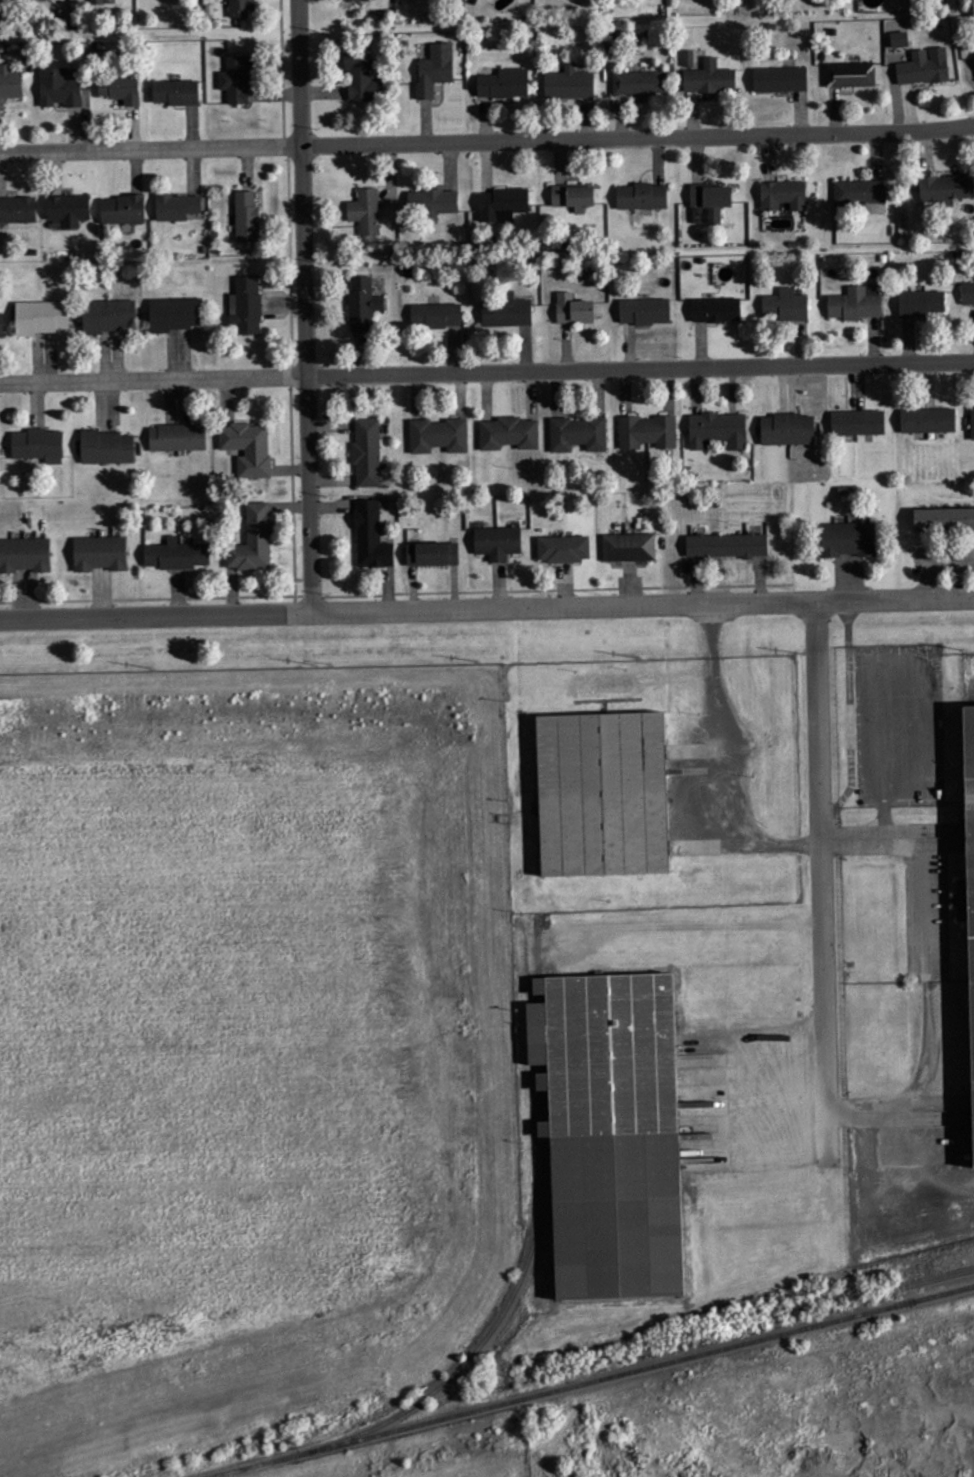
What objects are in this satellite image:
building: (357, 0)
building: (97, 1)
building: (241, 8)
building: (689, 59)
building: (436, 70)
building: (923, 70)
building: (851, 75)
building: (362, 77)
building: (238, 79)
building: (710, 79)
building: (781, 80)
building: (10, 84)
building: (505, 84)
building: (570, 84)
building: (640, 84)
building: (61, 89)
building: (122, 89)
building: (177, 93)
road: (487, 139)
building: (946, 190)
building: (861, 192)
building: (785, 195)
building: (643, 197)
building: (575, 198)
building: (712, 201)
building: (435, 203)
building: (504, 205)
building: (178, 207)
building: (18, 210)
building: (70, 210)
building: (124, 210)
building: (367, 212)
building: (248, 218)
building: (968, 294)
building: (365, 304)
building: (857, 304)
building: (922, 304)
building: (247, 305)
road: (304, 305)
building: (787, 305)
building: (575, 310)
building: (717, 311)
building: (508, 312)
building: (646, 312)
building: (176, 315)
building: (110, 316)
building: (437, 316)
building: (43, 318)
building: (2, 327)
road: (487, 369)
building: (929, 421)
building: (859, 423)
building: (973, 423)
building: (719, 430)
building: (789, 430)
building: (648, 433)
building: (510, 434)
building: (579, 435)
building: (440, 436)
building: (178, 438)
building: (39, 446)
building: (108, 448)
building: (248, 448)
building: (368, 453)
building: (945, 521)
building: (372, 538)
building: (850, 540)
building: (254, 541)
building: (499, 543)
building: (728, 546)
building: (630, 548)
building: (565, 550)
building: (101, 554)
building: (25, 555)
building: (434, 555)
road: (928, 555)
building: (178, 556)
road: (486, 605)
building: (971, 795)
building: (605, 796)
road: (890, 840)
road: (822, 869)
building: (614, 1131)
railway: (535, 1245)
railway: (943, 1276)
railway: (589, 1380)

